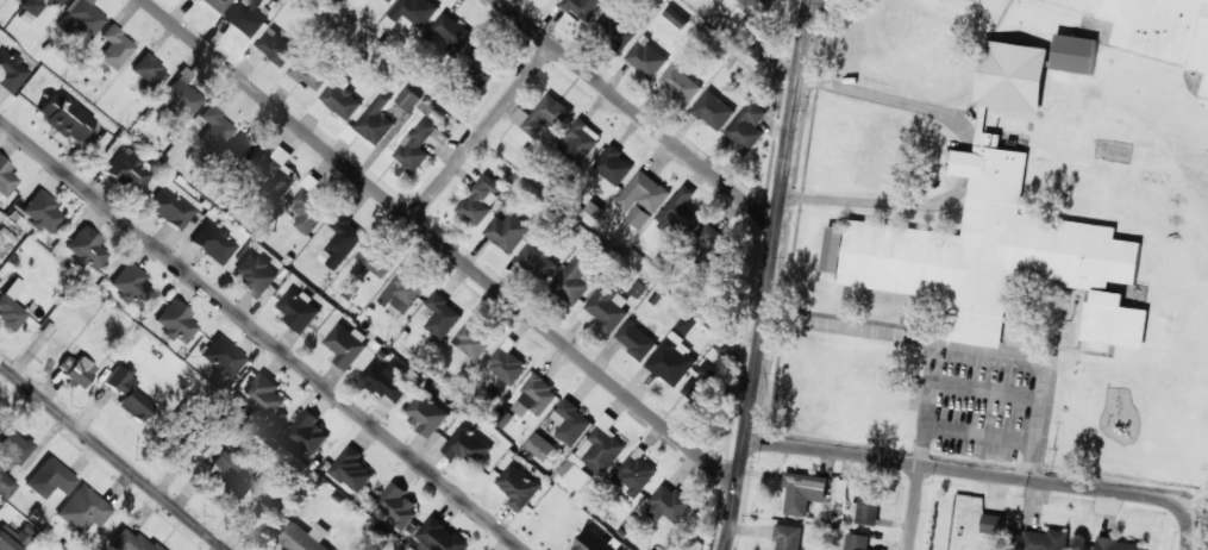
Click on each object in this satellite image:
building: (390, 0)
building: (38, 5)
building: (215, 5)
building: (759, 5)
building: (584, 7)
building: (412, 12)
building: (676, 17)
building: (79, 18)
building: (244, 18)
building: (1159, 29)
building: (451, 30)
building: (615, 30)
building: (276, 46)
building: (114, 48)
building: (1075, 51)
building: (646, 57)
building: (10, 70)
building: (149, 70)
building: (309, 73)
building: (1010, 73)
building: (681, 83)
building: (179, 95)
building: (408, 99)
building: (337, 102)
building: (713, 110)
road: (637, 112)
building: (542, 114)
building: (64, 117)
building: (376, 120)
building: (213, 125)
building: (747, 126)
road: (482, 131)
building: (580, 139)
building: (613, 164)
building: (265, 167)
building: (6, 177)
building: (643, 193)
building: (480, 199)
building: (173, 205)
building: (309, 205)
building: (678, 210)
building: (40, 212)
building: (638, 215)
building: (508, 231)
building: (342, 240)
building: (213, 243)
road: (440, 243)
building: (716, 248)
building: (86, 249)
building: (995, 256)
building: (376, 257)
building: (537, 261)
building: (255, 273)
road: (768, 275)
building: (574, 279)
building: (131, 285)
building: (403, 292)
building: (11, 305)
building: (608, 305)
building: (298, 310)
building: (442, 314)
building: (175, 321)
building: (688, 321)
road: (267, 329)
building: (636, 339)
building: (472, 340)
building: (346, 344)
building: (221, 358)
building: (672, 360)
building: (76, 368)
building: (506, 368)
building: (702, 377)
building: (117, 379)
building: (387, 380)
building: (264, 394)
building: (534, 396)
building: (134, 405)
building: (426, 414)
building: (570, 421)
building: (308, 433)
building: (467, 445)
building: (13, 446)
building: (540, 446)
road: (113, 456)
building: (594, 456)
road: (949, 467)
building: (352, 469)
building: (232, 473)
building: (633, 475)
building: (51, 477)
building: (6, 486)
building: (518, 487)
building: (802, 492)
building: (669, 504)
building: (396, 505)
road: (914, 506)
building: (868, 507)
building: (83, 510)
road: (1183, 515)
building: (993, 524)
building: (442, 536)
building: (14, 537)
building: (305, 537)
building: (787, 537)
building: (129, 540)
building: (1045, 540)
building: (594, 542)
building: (856, 542)
building: (1118, 544)

